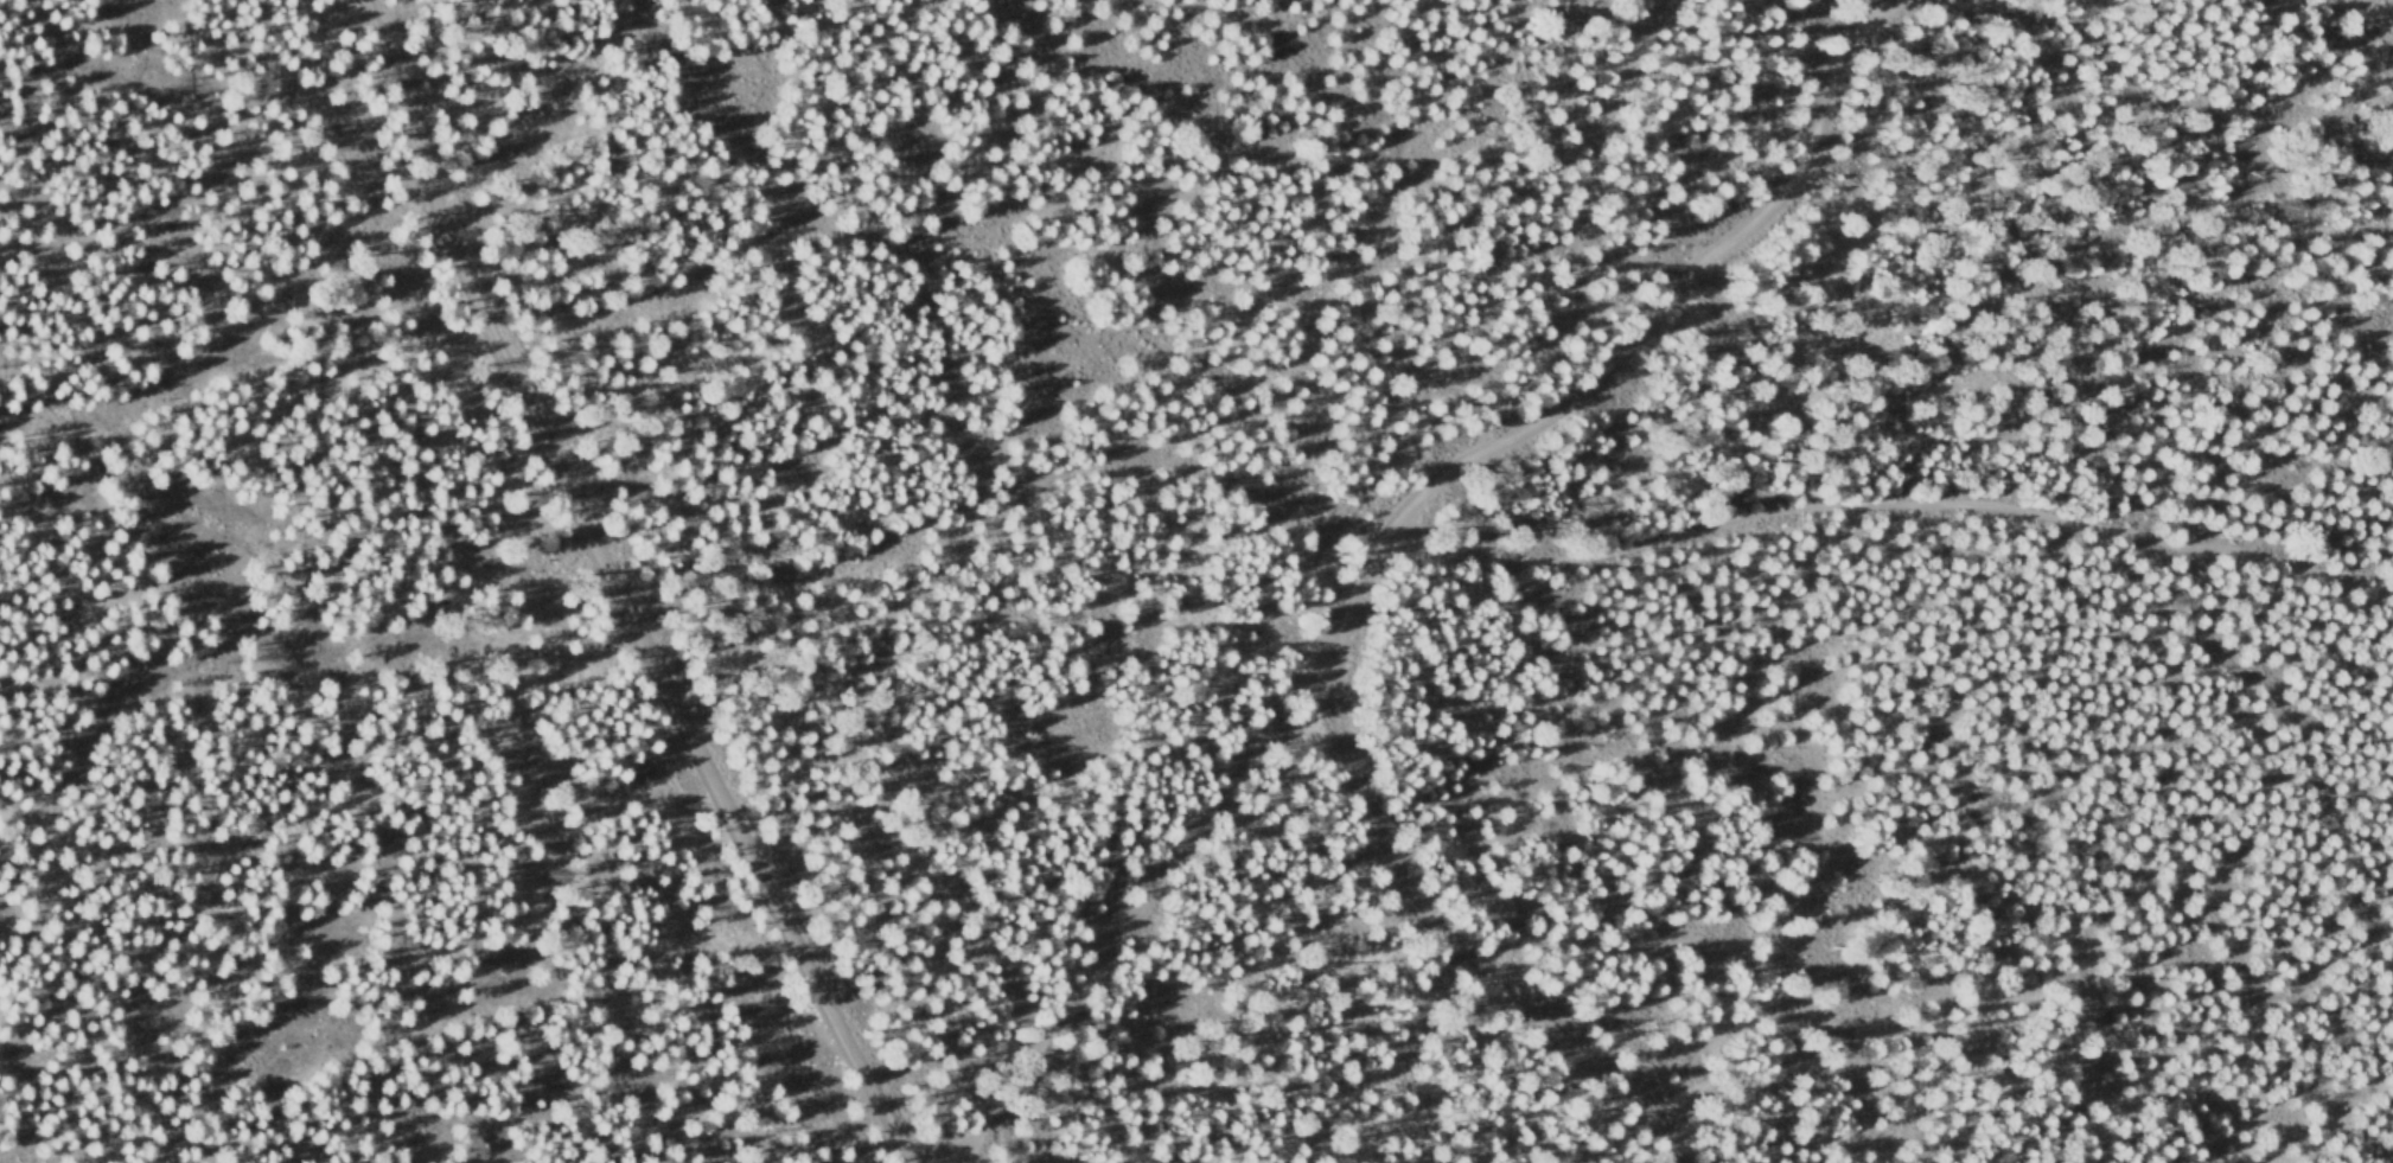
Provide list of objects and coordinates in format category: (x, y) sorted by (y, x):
road: (2375, 12)
road: (1883, 483)
road: (1385, 532)
road: (613, 589)
road: (1446, 934)

